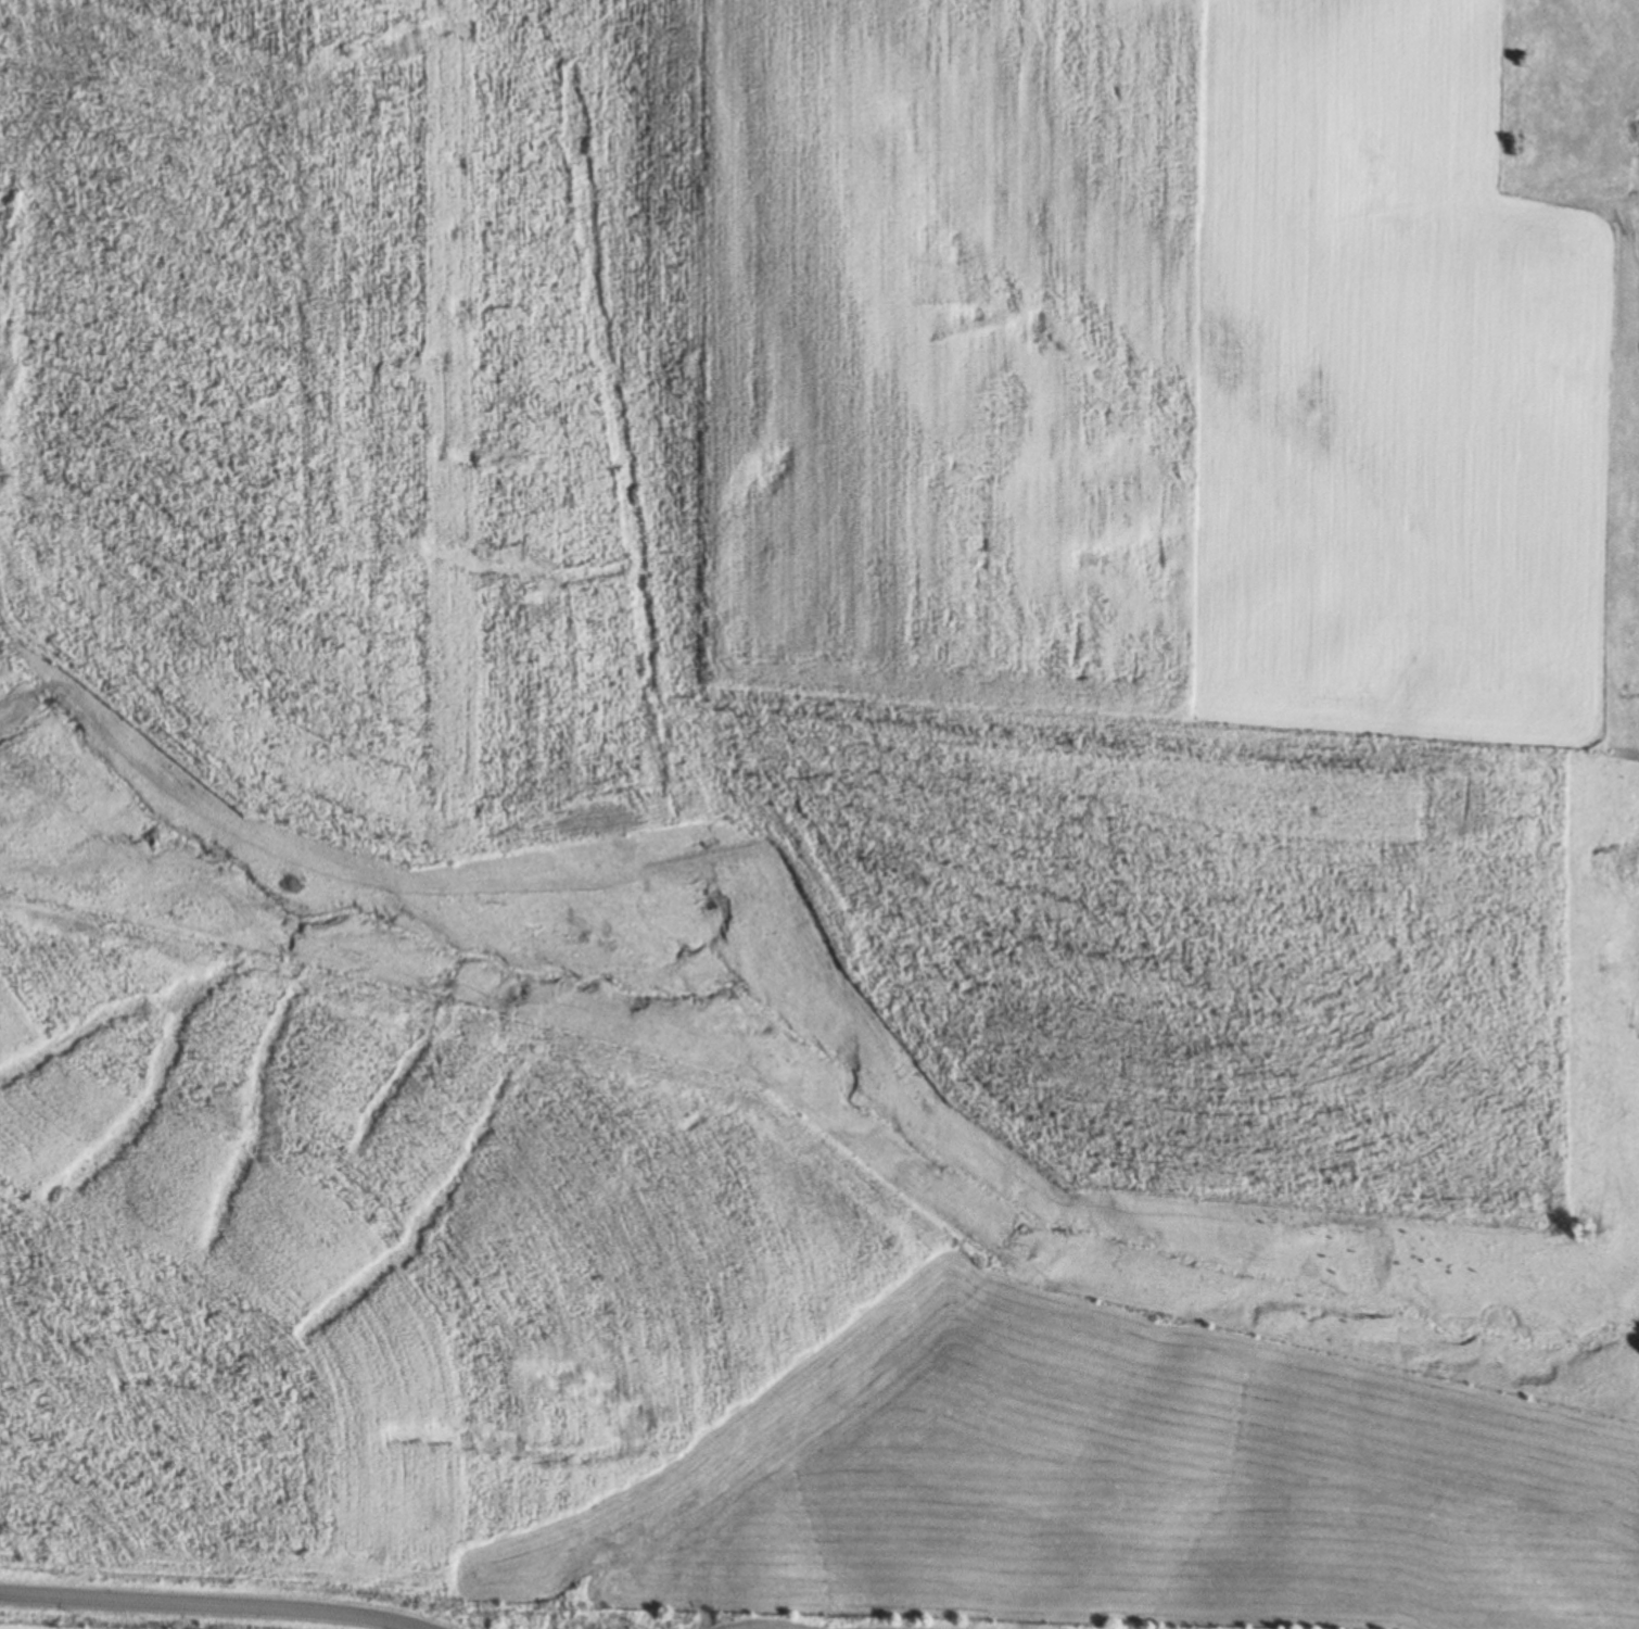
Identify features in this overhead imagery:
road: (198, 1612)
road: (768, 1628)

